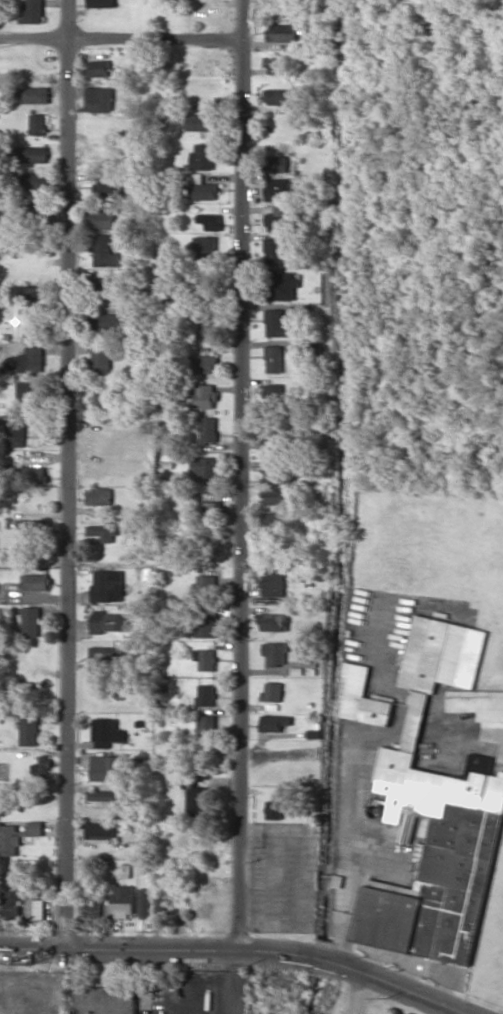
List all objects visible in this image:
building: (100, 3)
building: (31, 11)
building: (280, 32)
road: (119, 40)
building: (279, 64)
building: (97, 68)
building: (34, 94)
building: (278, 96)
building: (99, 99)
building: (38, 123)
building: (201, 124)
building: (33, 154)
building: (202, 156)
building: (280, 163)
building: (35, 181)
building: (106, 187)
building: (202, 188)
building: (276, 189)
building: (99, 217)
building: (276, 217)
building: (209, 221)
building: (205, 245)
building: (273, 250)
building: (103, 251)
building: (106, 286)
building: (29, 292)
building: (33, 321)
building: (106, 321)
building: (208, 321)
building: (276, 323)
building: (309, 349)
building: (100, 358)
building: (273, 358)
building: (32, 359)
building: (205, 363)
building: (30, 390)
building: (272, 394)
building: (204, 395)
building: (104, 400)
building: (15, 430)
building: (208, 430)
building: (204, 466)
road: (68, 472)
building: (34, 474)
road: (239, 475)
building: (276, 475)
building: (99, 495)
building: (274, 496)
building: (209, 509)
building: (274, 520)
building: (32, 527)
building: (103, 532)
building: (35, 582)
building: (204, 584)
building: (273, 584)
building: (107, 585)
building: (31, 621)
building: (108, 621)
building: (273, 622)
building: (204, 623)
building: (275, 652)
building: (104, 654)
building: (205, 658)
building: (272, 691)
building: (206, 695)
building: (362, 697)
building: (482, 710)
building: (274, 722)
building: (206, 724)
building: (28, 730)
building: (105, 732)
building: (41, 764)
building: (106, 767)
building: (103, 795)
building: (194, 795)
building: (274, 809)
building: (436, 814)
building: (100, 830)
building: (16, 835)
building: (120, 901)
building: (144, 901)
building: (12, 904)
building: (93, 906)
building: (160, 906)
building: (35, 908)
road: (120, 946)
road: (357, 970)
building: (105, 1000)

